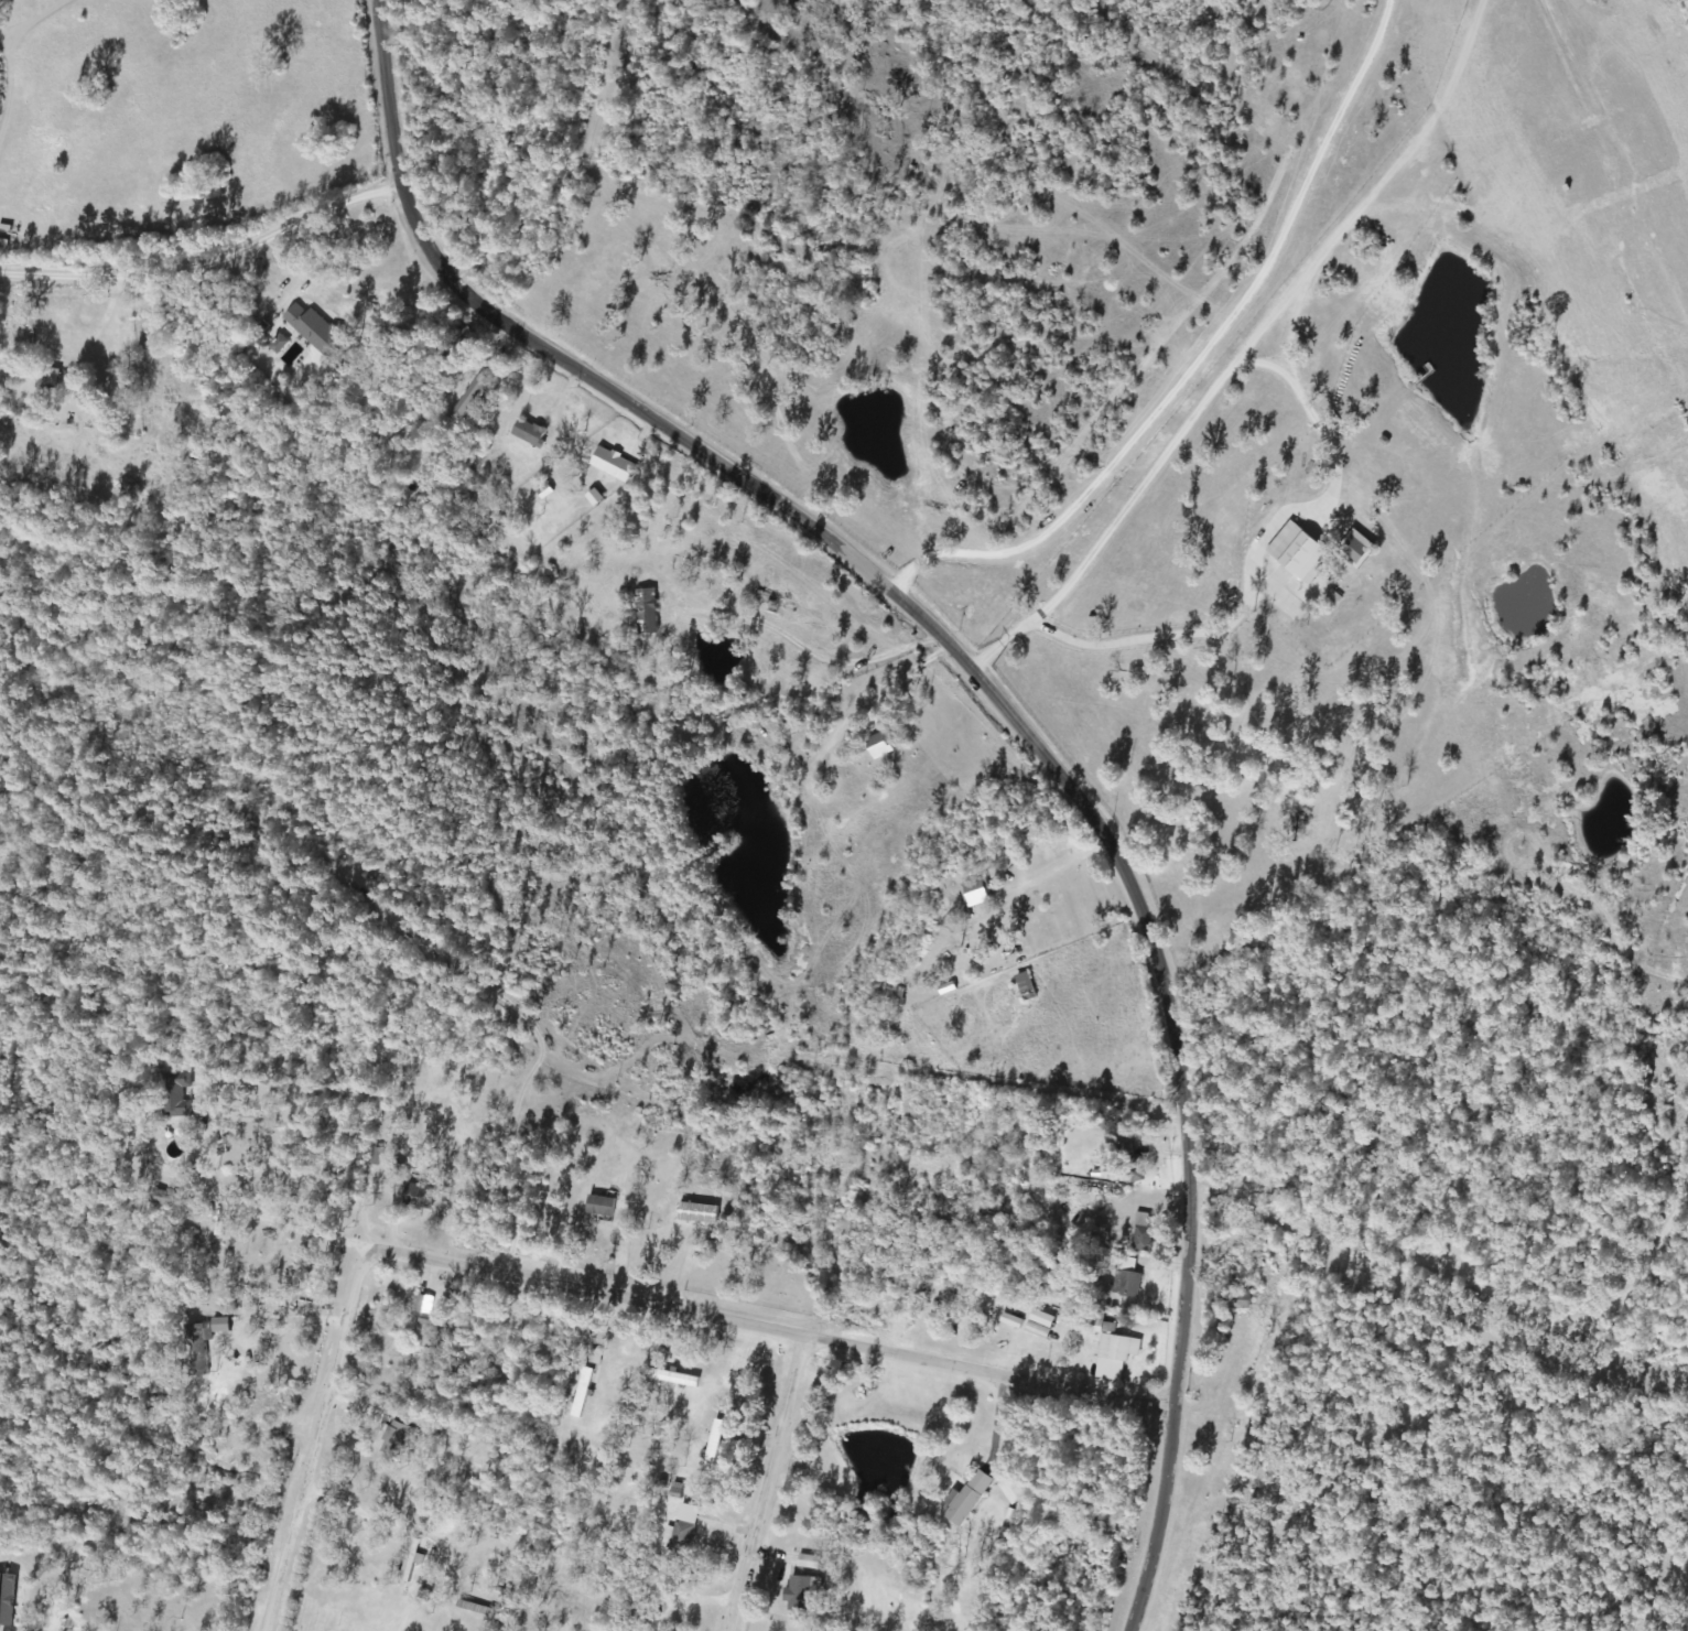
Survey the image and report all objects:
road: (204, 263)
building: (315, 331)
building: (48, 378)
building: (468, 397)
building: (530, 433)
building: (606, 463)
building: (1298, 553)
building: (767, 603)
building: (646, 611)
road: (993, 702)
building: (878, 744)
building: (975, 892)
building: (1024, 985)
building: (897, 1000)
building: (172, 1093)
building: (1127, 1163)
building: (418, 1196)
building: (158, 1197)
building: (599, 1206)
building: (988, 1211)
building: (1140, 1232)
building: (209, 1242)
building: (1125, 1278)
road: (544, 1284)
building: (422, 1304)
building: (1039, 1325)
building: (423, 1333)
building: (197, 1349)
building: (1110, 1349)
building: (593, 1357)
road: (994, 1376)
building: (671, 1378)
building: (581, 1393)
building: (394, 1437)
building: (712, 1444)
building: (1011, 1490)
building: (965, 1498)
building: (680, 1536)
building: (408, 1559)
building: (805, 1560)
building: (796, 1592)
building: (617, 1628)

